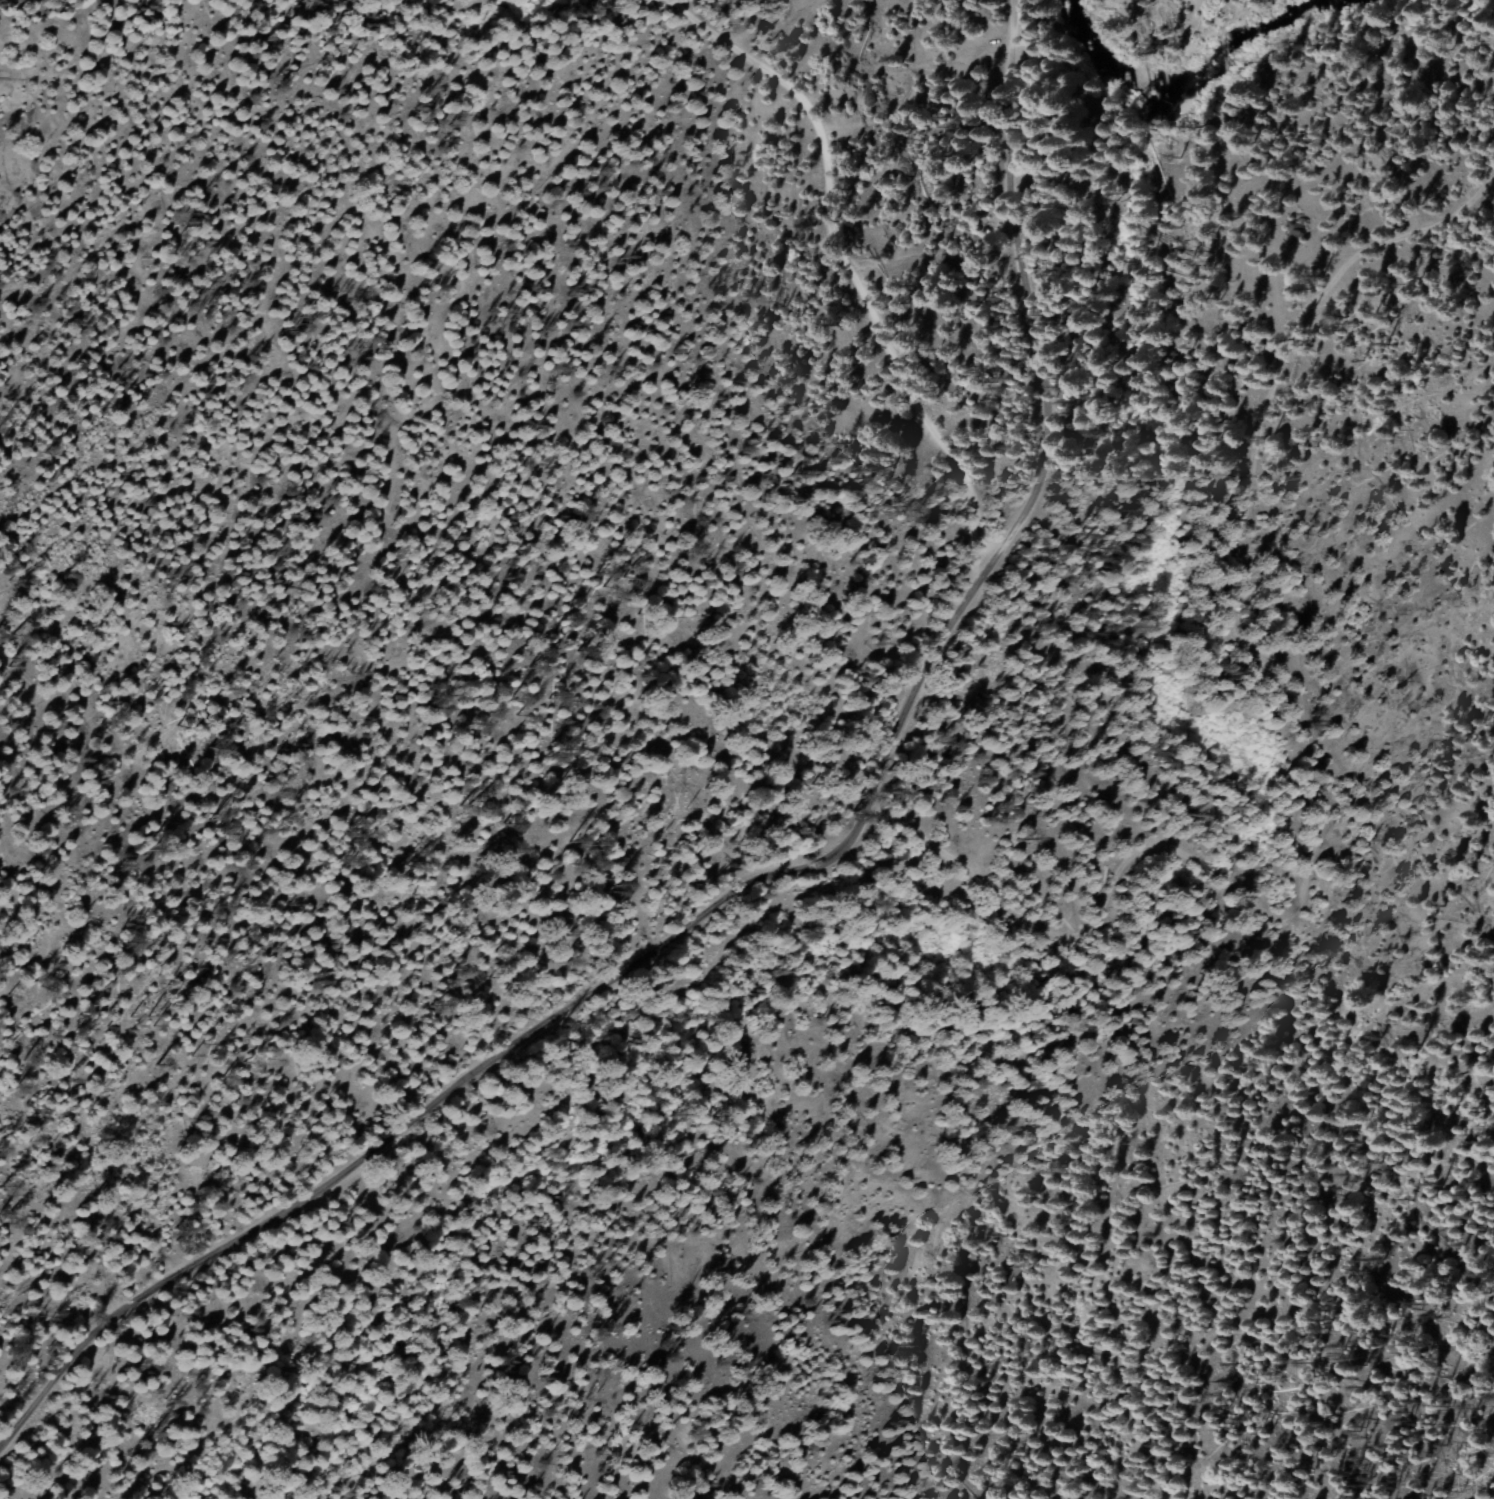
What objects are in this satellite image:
road: (847, 273)
road: (790, 871)

